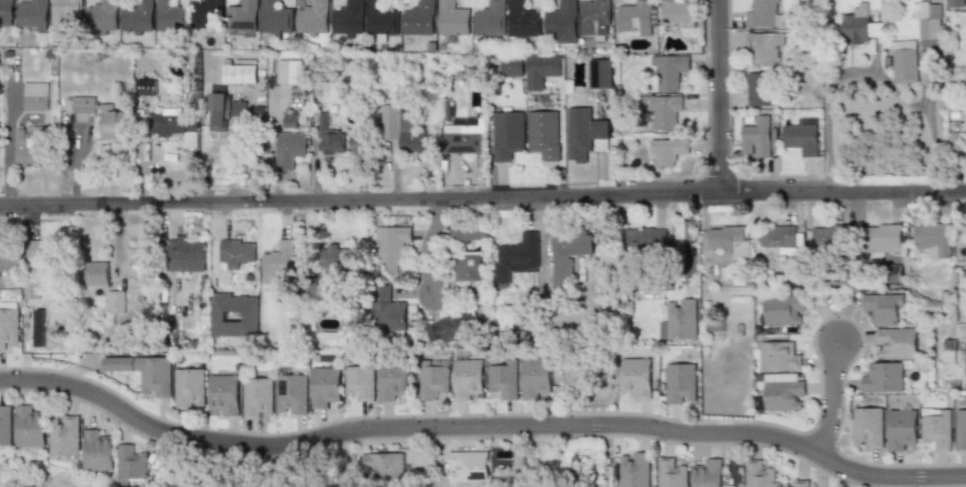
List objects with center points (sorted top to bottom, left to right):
building: (955, 3)
building: (871, 4)
building: (7, 10)
building: (65, 12)
building: (33, 13)
building: (764, 13)
building: (208, 14)
building: (103, 15)
building: (170, 15)
building: (243, 15)
building: (679, 15)
building: (138, 17)
building: (594, 17)
building: (278, 18)
building: (314, 18)
building: (420, 18)
building: (453, 18)
building: (524, 18)
building: (349, 19)
building: (383, 19)
building: (491, 19)
building: (637, 19)
building: (562, 20)
building: (929, 21)
building: (856, 29)
building: (765, 48)
building: (905, 62)
building: (531, 69)
building: (670, 70)
building: (292, 72)
building: (240, 73)
building: (601, 73)
road: (868, 75)
building: (147, 87)
building: (759, 88)
building: (36, 96)
road: (717, 96)
building: (218, 107)
building: (238, 108)
building: (664, 111)
building: (291, 121)
building: (173, 124)
building: (114, 126)
building: (402, 129)
building: (545, 134)
building: (586, 134)
building: (507, 135)
building: (331, 138)
building: (463, 138)
building: (756, 138)
building: (801, 138)
building: (958, 141)
building: (359, 143)
building: (24, 148)
building: (290, 149)
building: (666, 151)
road: (482, 197)
building: (468, 233)
building: (829, 235)
building: (647, 237)
building: (780, 237)
building: (883, 237)
building: (729, 238)
building: (933, 239)
road: (426, 244)
building: (392, 245)
building: (41, 251)
building: (185, 251)
building: (569, 253)
building: (234, 254)
building: (517, 257)
building: (279, 258)
building: (8, 260)
building: (335, 260)
building: (469, 268)
building: (96, 273)
building: (33, 290)
building: (116, 302)
building: (883, 306)
building: (387, 309)
building: (784, 310)
building: (234, 314)
building: (680, 320)
building: (10, 326)
building: (453, 327)
building: (896, 343)
building: (948, 351)
building: (778, 357)
building: (965, 367)
building: (144, 372)
building: (637, 377)
building: (467, 378)
building: (535, 378)
building: (883, 378)
building: (393, 380)
building: (503, 380)
building: (433, 381)
building: (360, 382)
building: (680, 384)
building: (325, 386)
building: (191, 389)
building: (225, 394)
building: (292, 395)
building: (786, 395)
building: (258, 398)
road: (829, 400)
road: (480, 425)
building: (6, 426)
building: (31, 427)
building: (868, 428)
building: (901, 428)
building: (937, 428)
building: (960, 430)
building: (65, 436)
building: (99, 450)
road: (735, 460)
building: (385, 465)
building: (133, 466)
building: (468, 467)
building: (635, 469)
building: (672, 473)
building: (708, 473)
building: (759, 474)
building: (800, 483)

